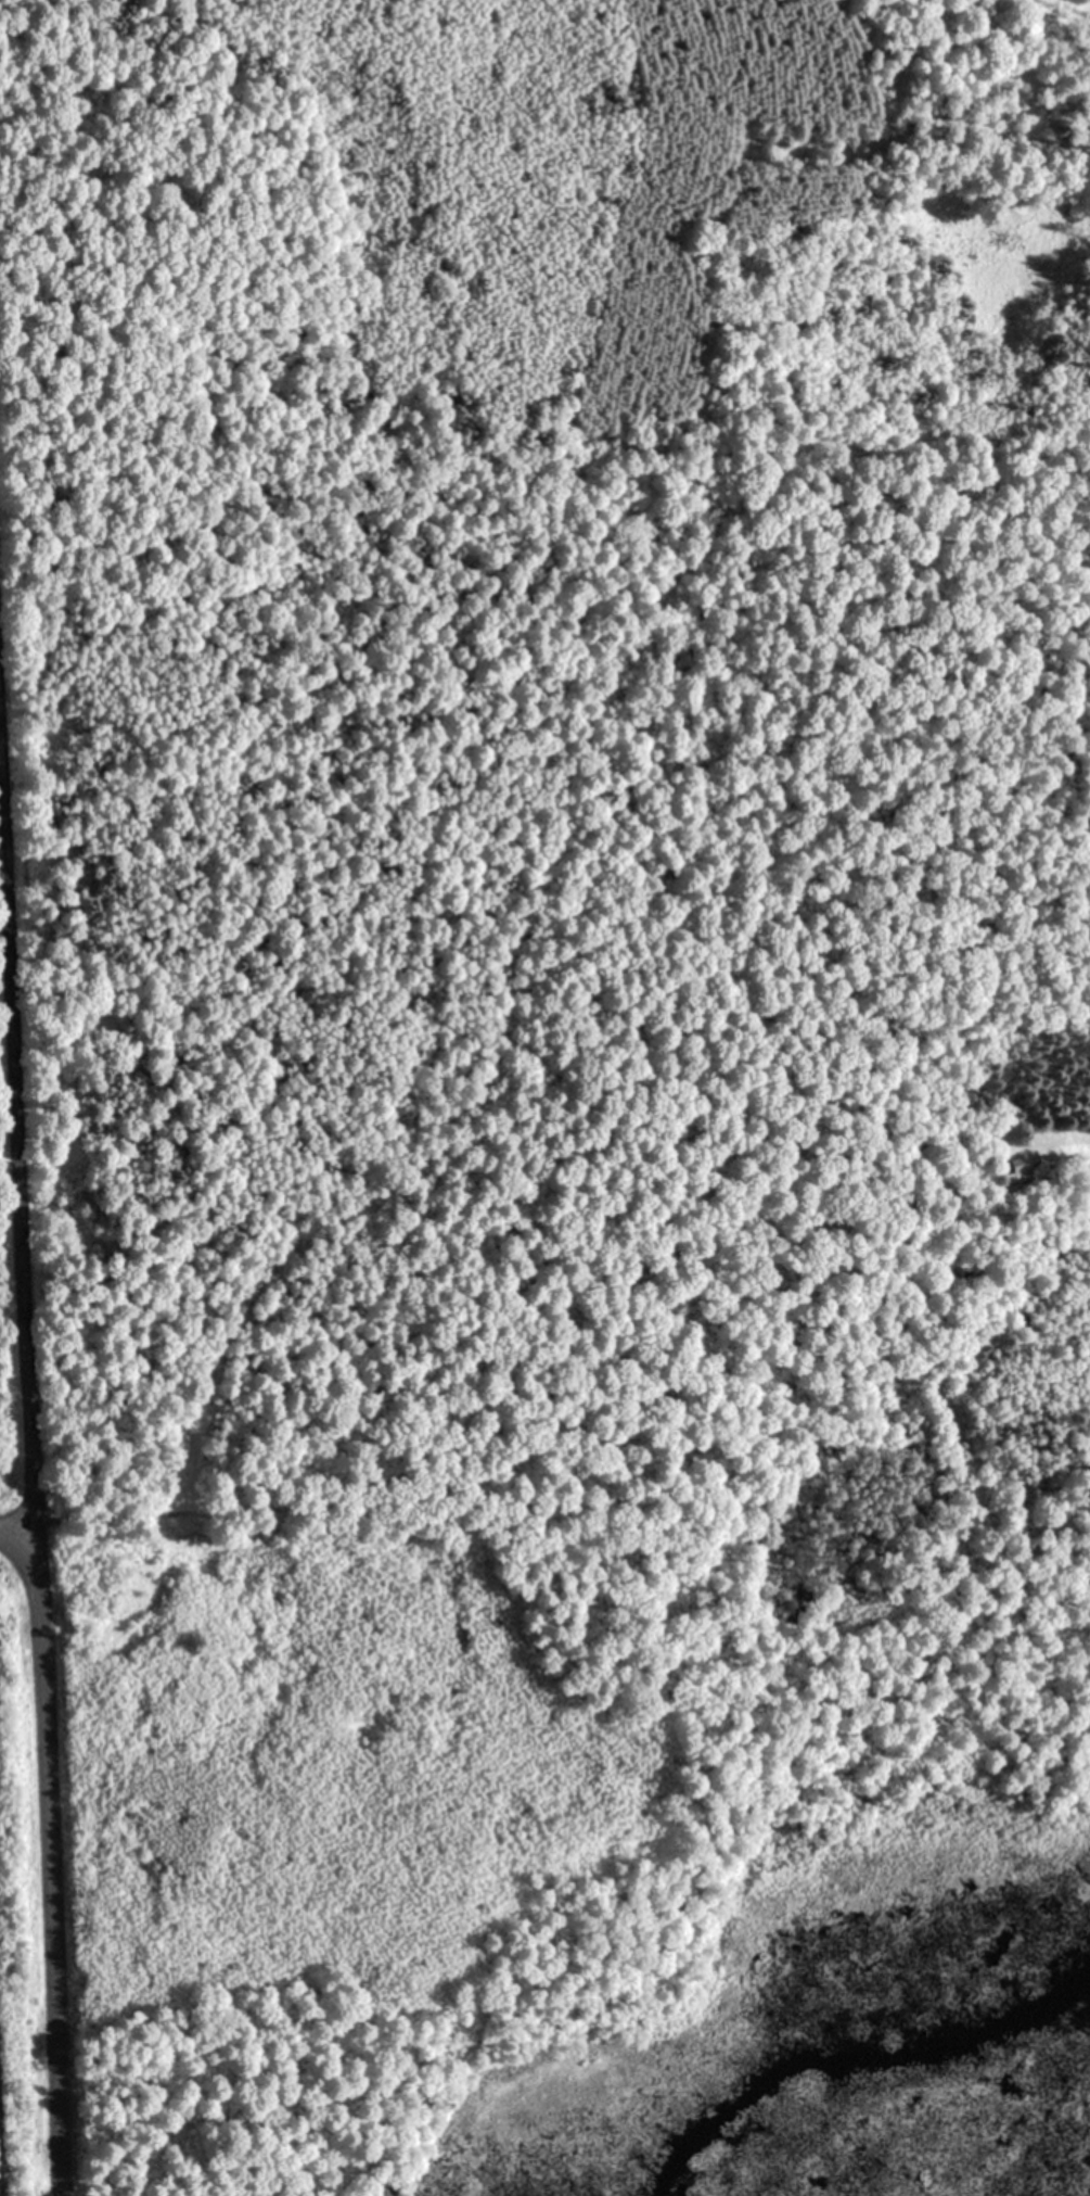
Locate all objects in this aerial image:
building: (1021, 1167)
road: (469, 1170)
road: (17, 1178)
road: (7, 1541)
road: (47, 1868)
river: (864, 2049)

